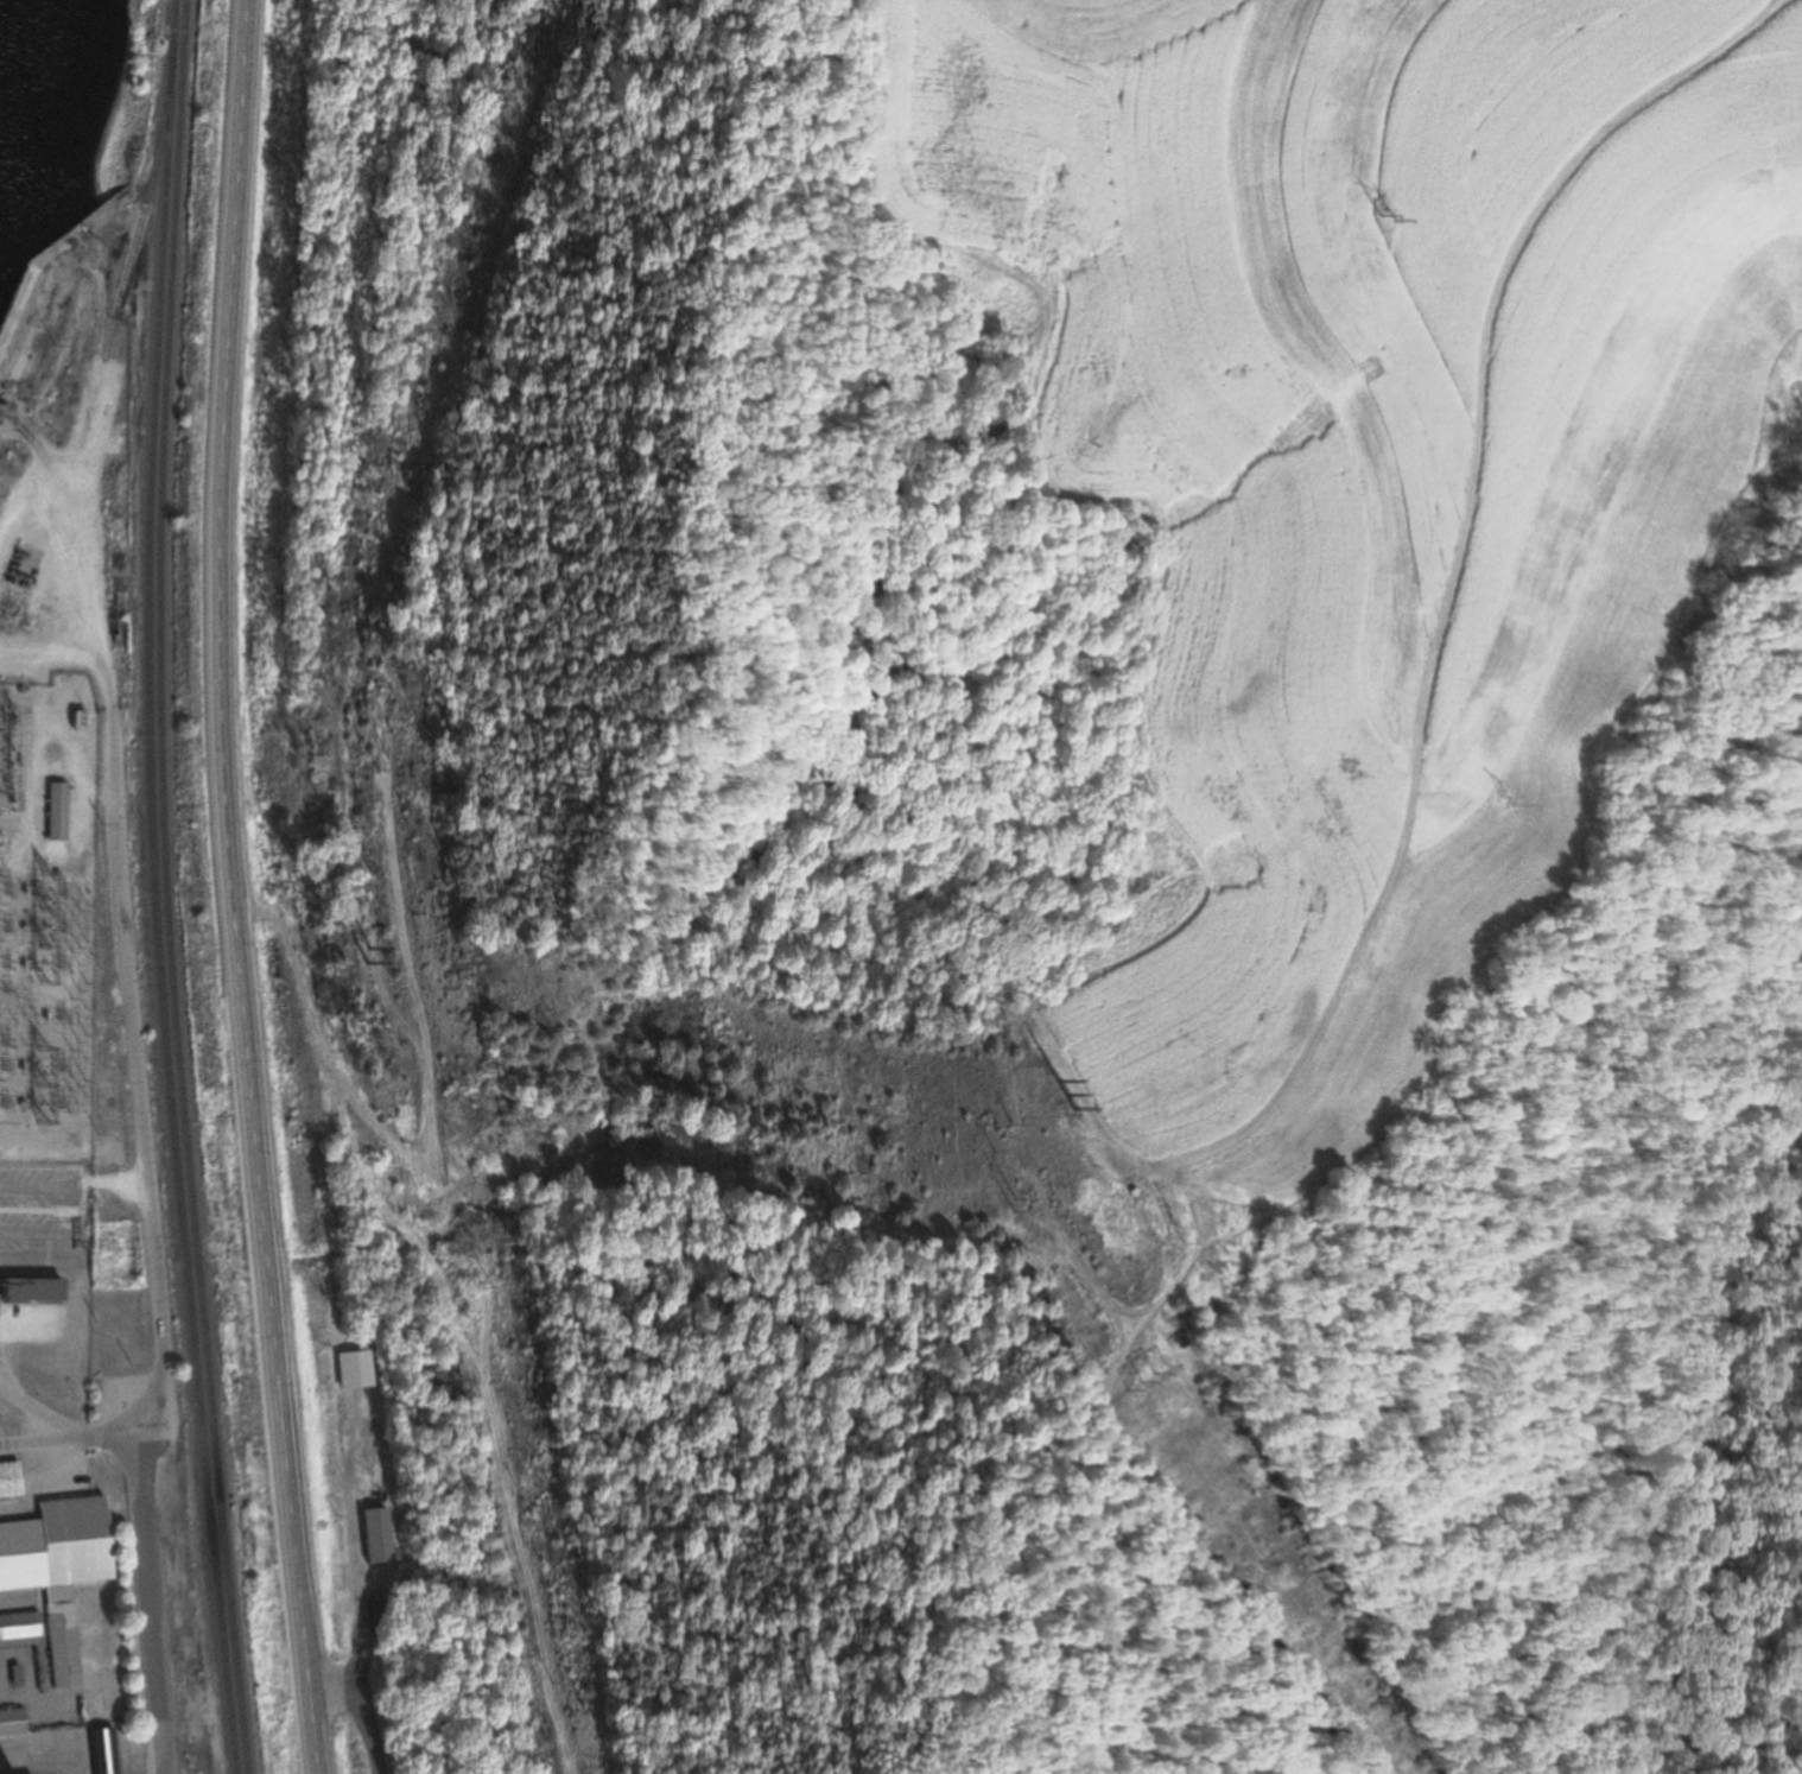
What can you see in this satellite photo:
power tower: (1381, 215)
railway: (134, 249)
building: (19, 568)
road: (1455, 576)
power tower: (388, 760)
power tower: (306, 784)
power tower: (1508, 800)
building: (58, 812)
railway: (154, 888)
railway: (166, 888)
road: (233, 888)
power substation: (49, 919)
power tower: (361, 957)
power tower: (570, 1039)
road: (133, 1050)
power tower: (1060, 1091)
power tower: (1003, 1138)
power tower: (1011, 1205)
power tower: (1179, 1225)
building: (30, 1285)
power tower: (484, 1292)
building: (359, 1370)
power tower: (1159, 1376)
road: (75, 1440)
building: (12, 1481)
building: (62, 1569)
road: (154, 1603)
power plant: (71, 1617)
building: (20, 1630)
road: (357, 1635)
road: (361, 1713)
building: (14, 1723)
building: (106, 1751)

